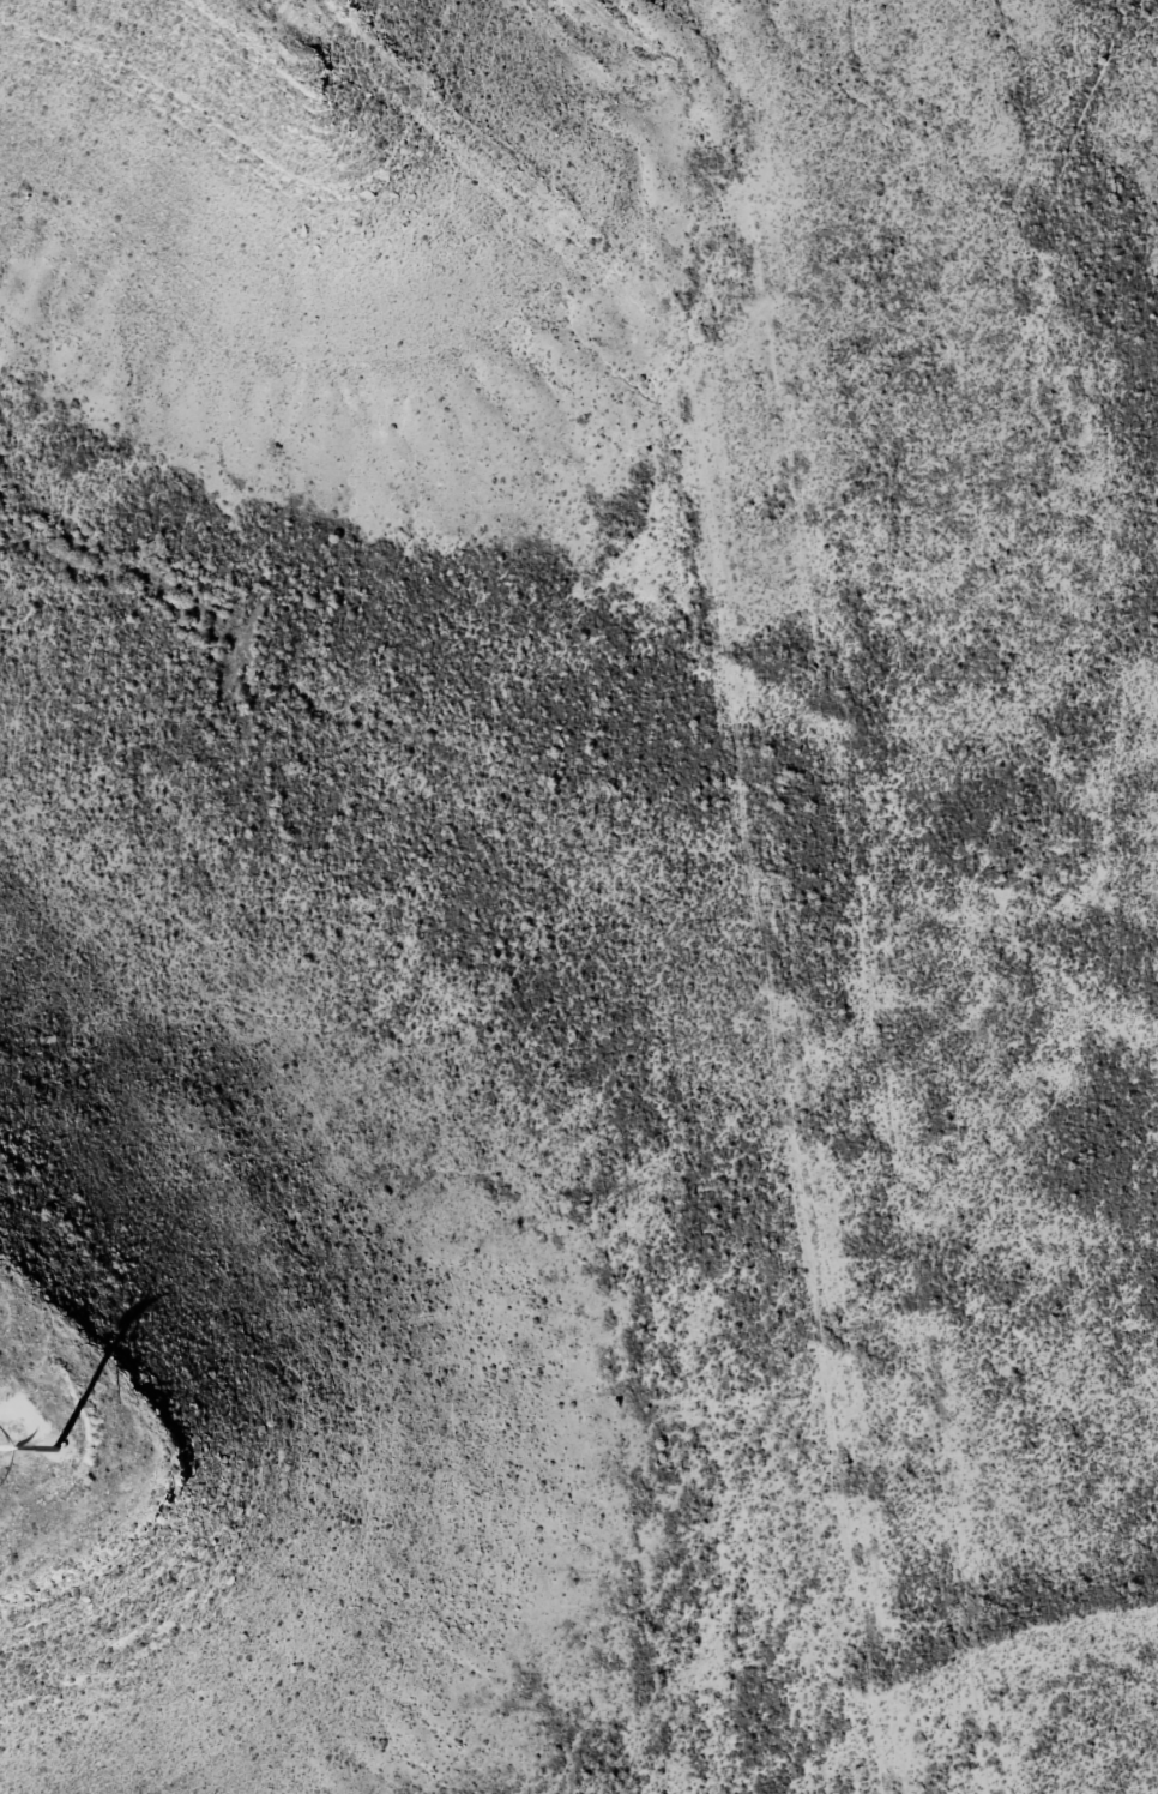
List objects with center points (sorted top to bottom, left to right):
road: (278, 12)
wind turbine: (43, 1451)

